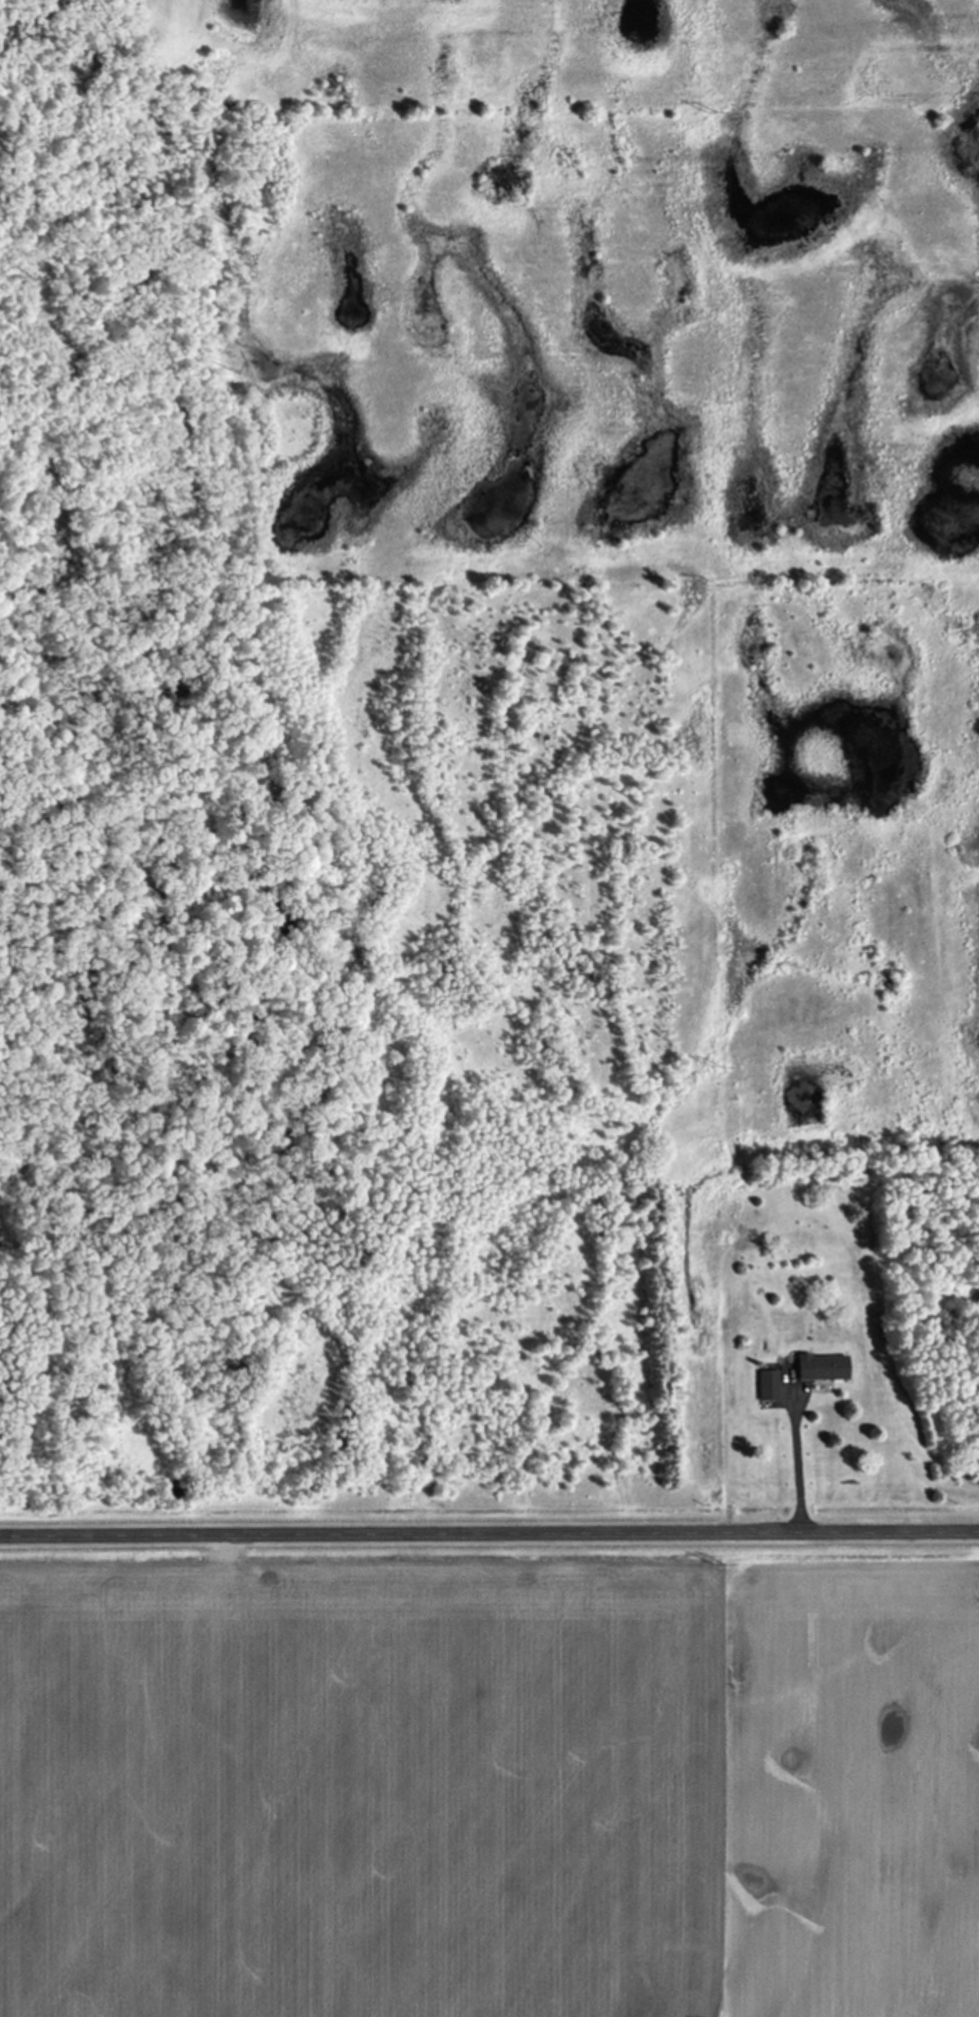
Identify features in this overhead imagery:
power tower: (715, 112)
power tower: (717, 581)
power tower: (721, 1064)
building: (825, 1368)
road: (797, 1463)
road: (489, 1531)
power tower: (717, 1566)

